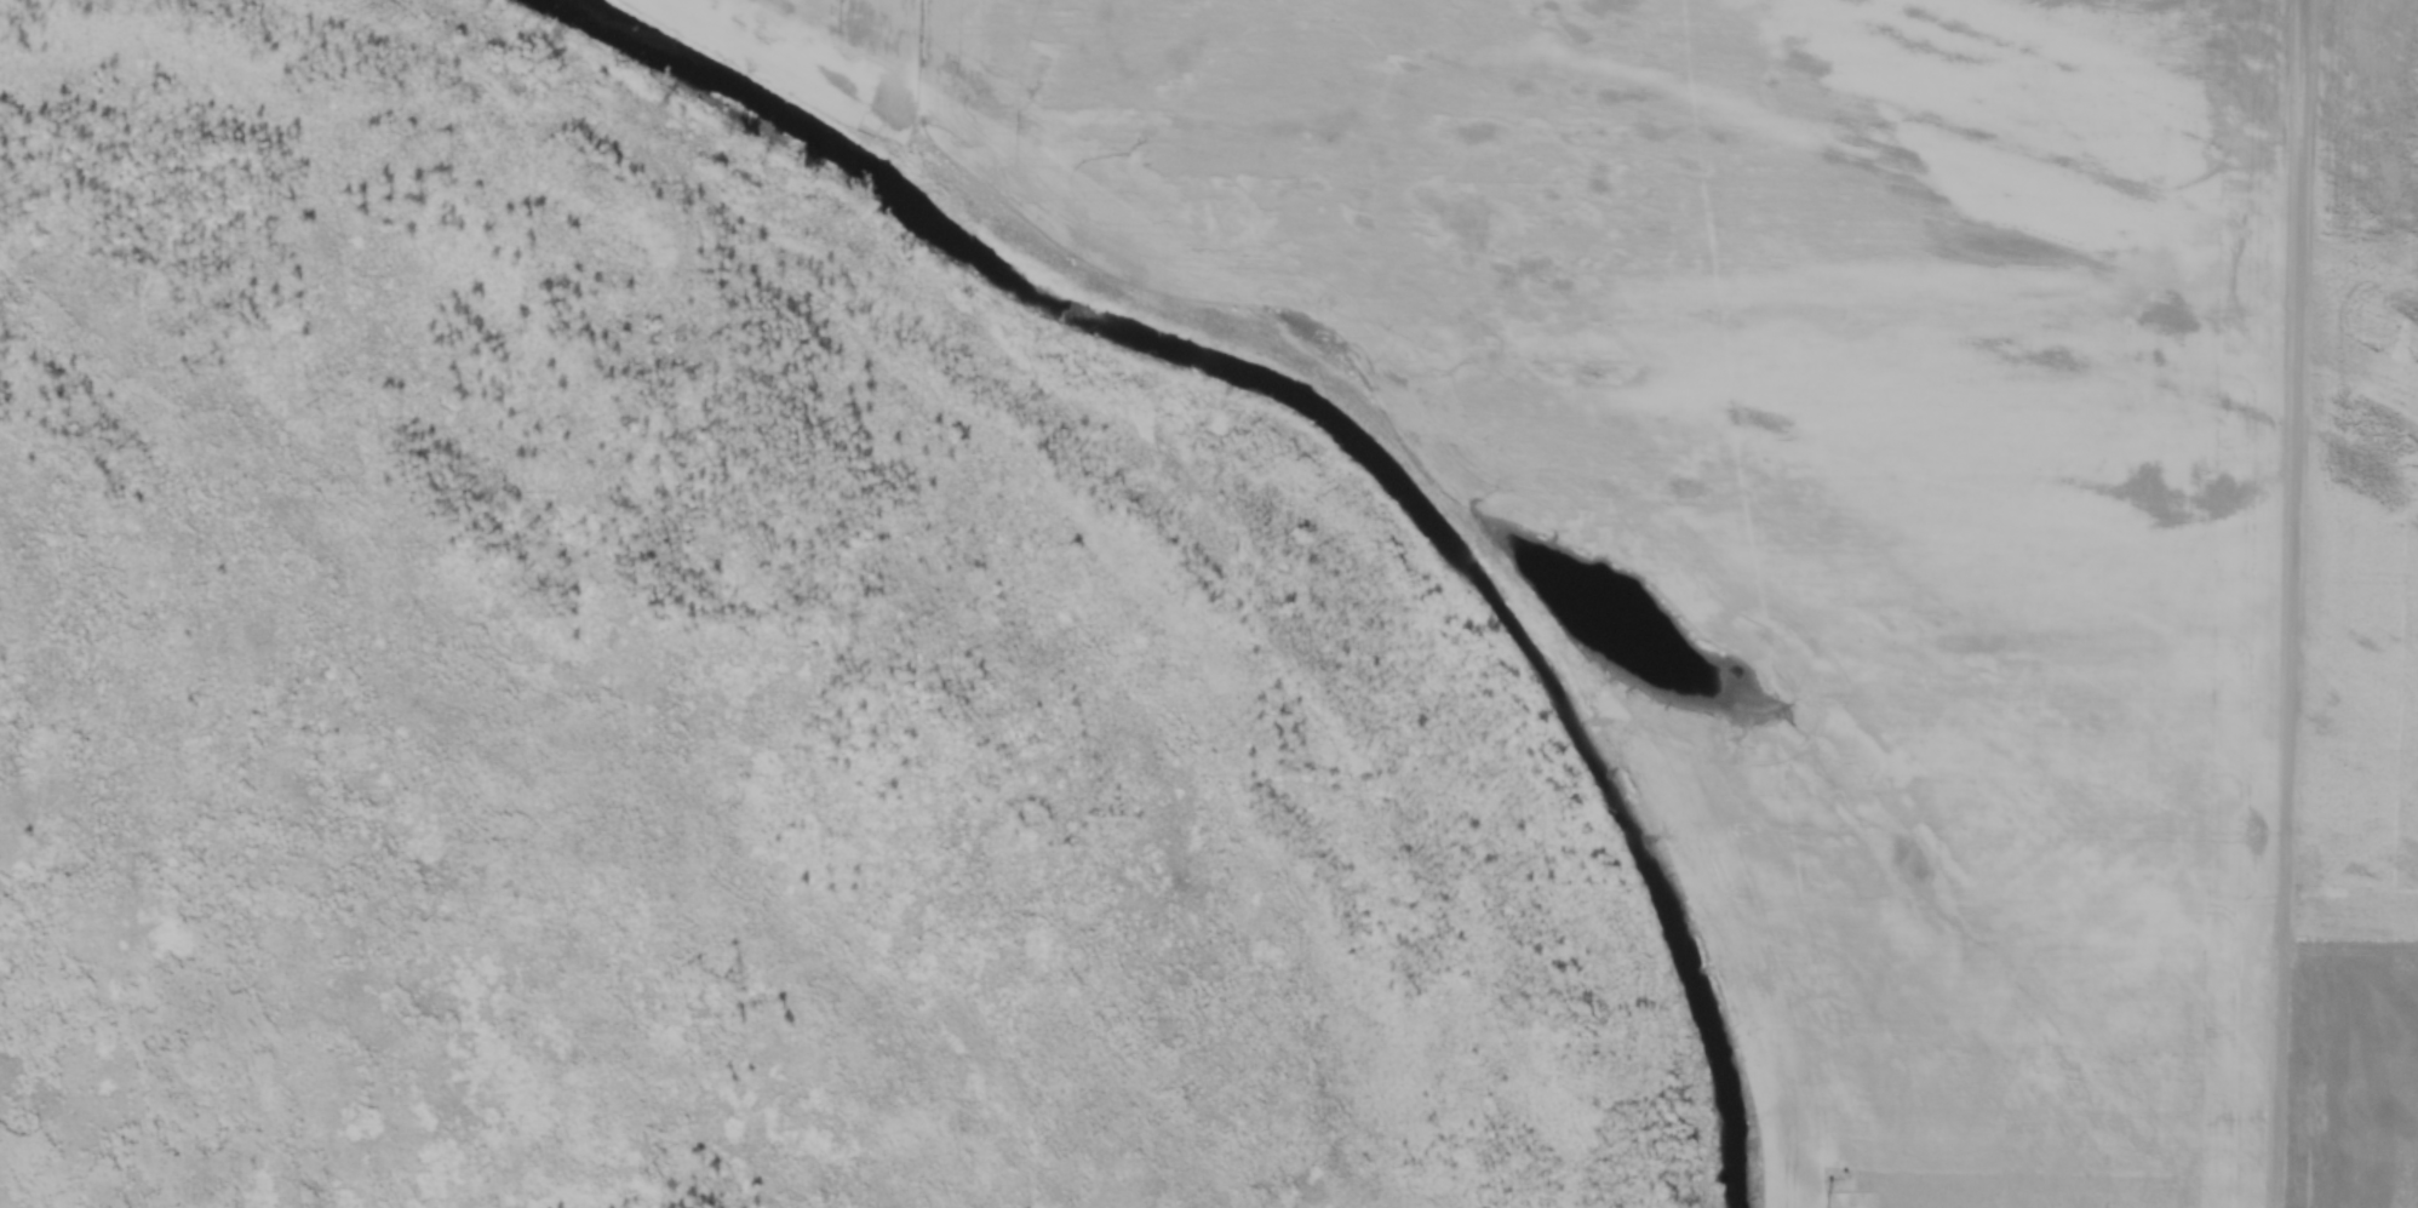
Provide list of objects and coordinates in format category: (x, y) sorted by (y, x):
road: (2290, 603)

